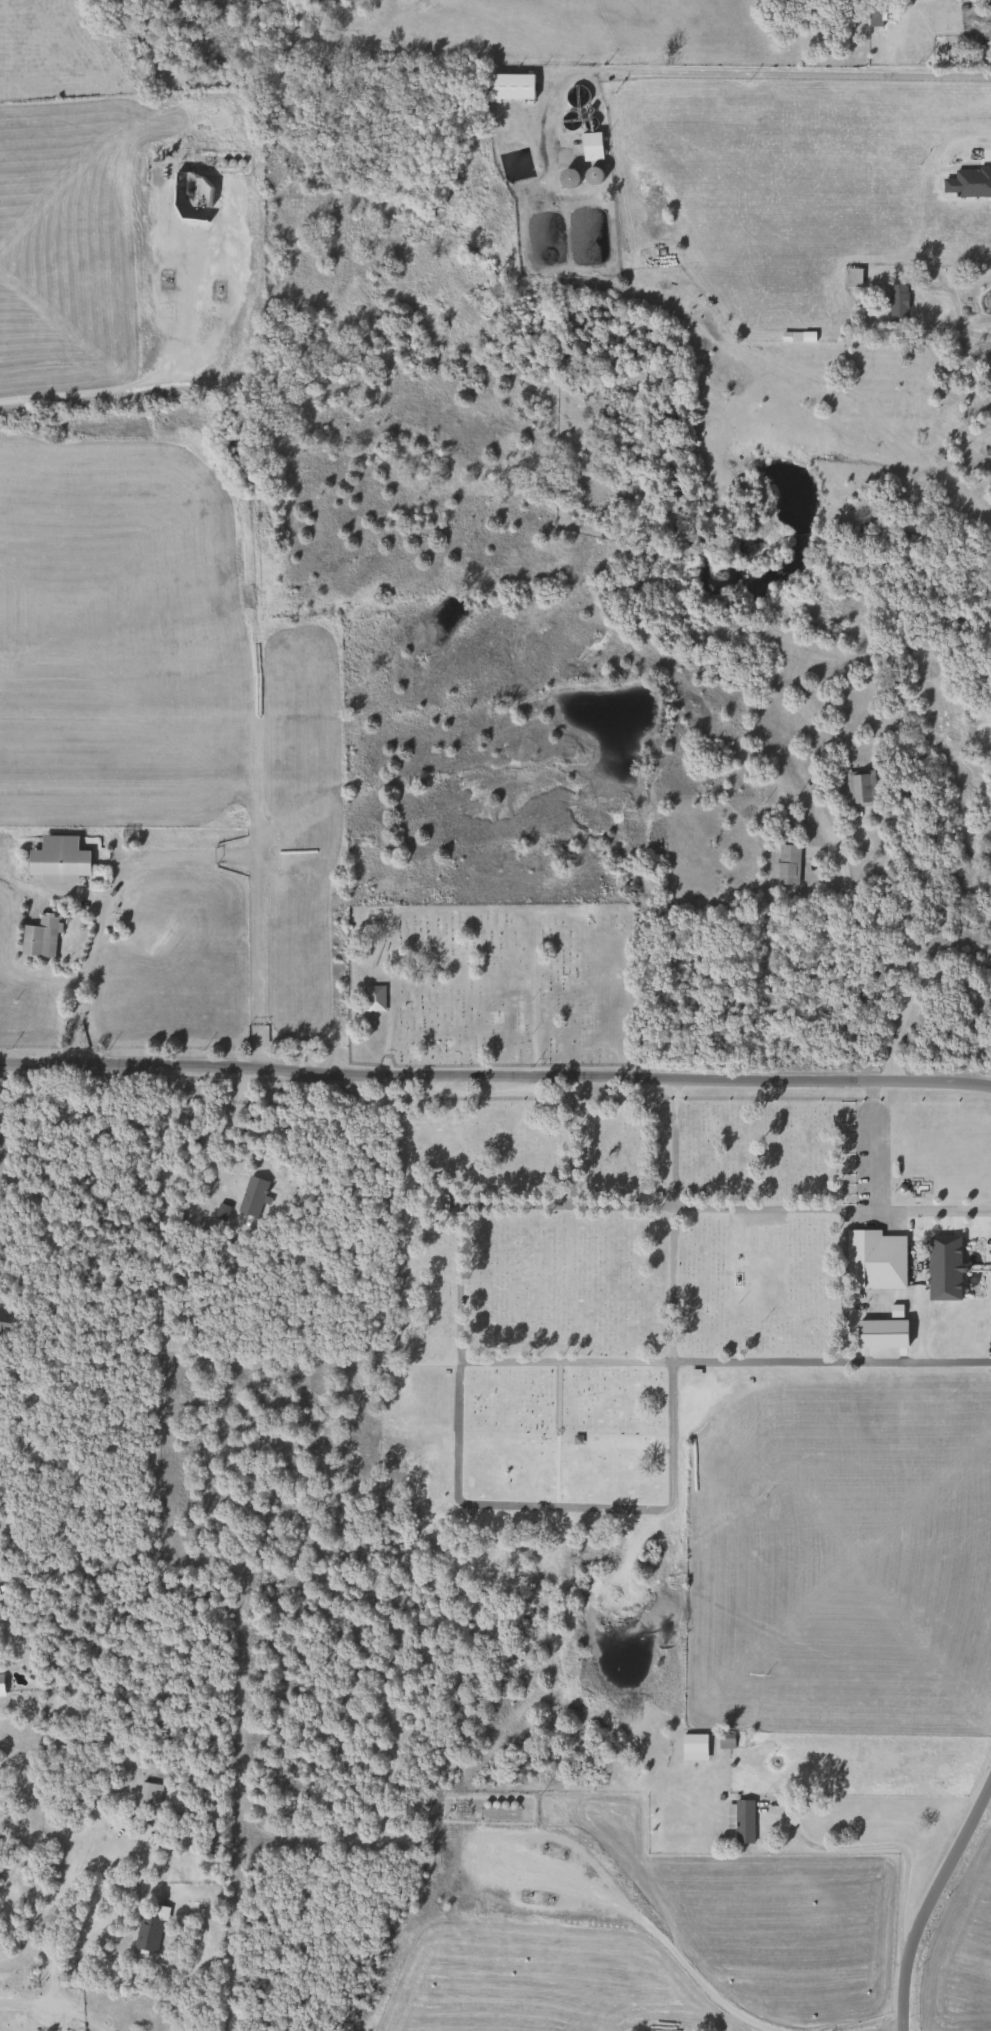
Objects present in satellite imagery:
building: (987, 13)
building: (871, 17)
road: (777, 72)
building: (508, 87)
building: (588, 142)
road: (984, 154)
building: (589, 177)
building: (565, 179)
building: (186, 198)
building: (850, 278)
building: (894, 303)
road: (955, 307)
road: (97, 386)
building: (857, 787)
road: (189, 856)
building: (55, 858)
building: (784, 864)
road: (897, 933)
building: (37, 937)
park: (487, 984)
building: (371, 999)
road: (495, 1076)
road: (214, 1130)
road: (569, 1141)
road: (672, 1142)
road: (871, 1144)
building: (440, 1204)
road: (830, 1207)
building: (872, 1259)
building: (740, 1275)
road: (669, 1283)
building: (4, 1321)
road: (918, 1333)
road: (543, 1359)
park: (716, 1379)
building: (723, 1742)
building: (146, 1796)
building: (504, 1803)
road: (885, 1846)
road: (32, 1873)
road: (929, 1896)
road: (632, 1909)
building: (145, 1934)
building: (99, 2004)
road: (36, 2007)
road: (10, 2018)
road: (87, 2022)

